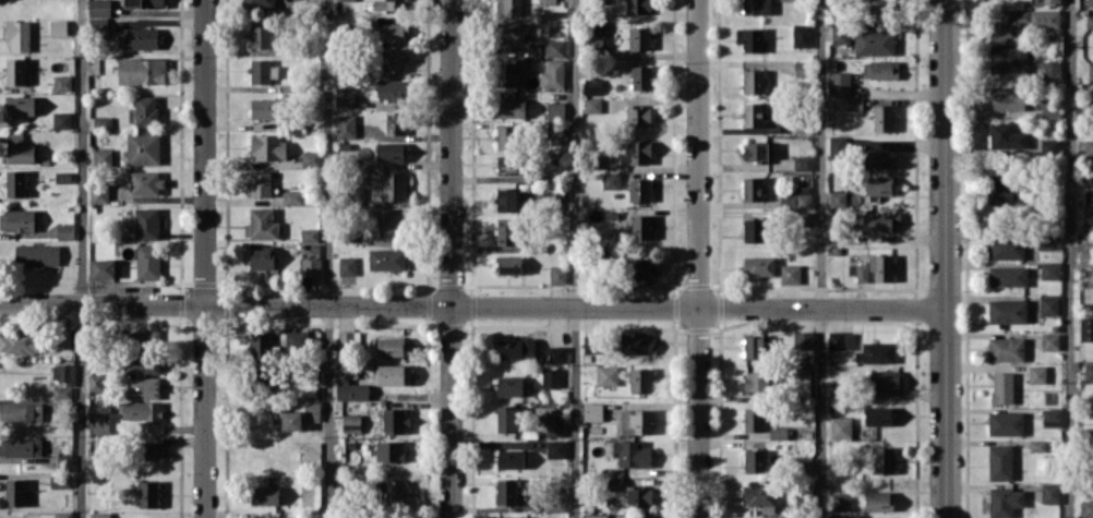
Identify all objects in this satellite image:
building: (348, 0)
building: (791, 0)
building: (546, 1)
building: (598, 1)
building: (1090, 2)
building: (144, 3)
building: (259, 3)
building: (388, 4)
building: (881, 4)
building: (508, 7)
building: (638, 7)
building: (756, 7)
building: (99, 8)
building: (1089, 21)
building: (1044, 24)
building: (59, 26)
building: (393, 32)
building: (512, 32)
building: (840, 34)
building: (19, 35)
building: (801, 35)
building: (261, 36)
building: (639, 37)
building: (137, 38)
building: (749, 38)
building: (874, 41)
building: (554, 48)
building: (394, 59)
building: (1008, 59)
building: (880, 69)
building: (1052, 70)
building: (15, 71)
building: (142, 71)
building: (262, 71)
building: (1090, 71)
building: (511, 74)
building: (553, 74)
building: (640, 77)
building: (753, 81)
building: (62, 82)
building: (839, 83)
building: (591, 84)
building: (391, 88)
building: (344, 97)
building: (1008, 97)
building: (853, 103)
building: (21, 105)
building: (592, 105)
building: (509, 107)
building: (265, 108)
building: (1050, 108)
building: (145, 109)
building: (753, 113)
building: (638, 116)
building: (882, 118)
building: (555, 119)
building: (61, 120)
building: (101, 121)
building: (396, 122)
building: (346, 125)
building: (506, 136)
building: (1006, 136)
building: (838, 145)
building: (267, 146)
building: (1049, 146)
building: (1089, 146)
building: (143, 148)
building: (755, 150)
building: (389, 152)
building: (639, 152)
building: (20, 153)
building: (103, 157)
building: (310, 158)
building: (877, 158)
building: (802, 162)
building: (507, 165)
building: (611, 180)
building: (145, 182)
building: (15, 183)
building: (260, 183)
building: (1089, 183)
building: (393, 185)
building: (878, 185)
building: (752, 188)
building: (639, 189)
building: (98, 193)
building: (292, 196)
building: (553, 196)
building: (801, 197)
building: (506, 198)
building: (837, 198)
building: (1088, 216)
building: (16, 219)
building: (880, 221)
building: (146, 222)
building: (392, 222)
building: (261, 224)
building: (640, 227)
building: (506, 230)
building: (755, 230)
building: (64, 231)
building: (309, 234)
building: (1006, 246)
building: (36, 254)
building: (1086, 257)
road: (82, 258)
road: (205, 258)
building: (262, 258)
road: (329, 258)
building: (386, 258)
road: (452, 258)
road: (576, 258)
road: (698, 258)
road: (821, 258)
road: (944, 258)
road: (1070, 258)
building: (147, 261)
building: (508, 264)
building: (347, 265)
building: (758, 265)
building: (310, 266)
building: (881, 266)
building: (103, 267)
building: (644, 267)
building: (1050, 270)
building: (862, 273)
building: (790, 274)
building: (557, 275)
building: (1007, 275)
building: (1049, 304)
road: (471, 306)
building: (1007, 311)
building: (1086, 328)
building: (62, 337)
building: (145, 338)
building: (297, 338)
building: (348, 339)
building: (803, 339)
building: (840, 340)
building: (20, 341)
building: (1049, 341)
building: (591, 344)
building: (636, 344)
building: (261, 345)
building: (391, 346)
building: (754, 347)
building: (515, 348)
building: (1006, 349)
building: (876, 352)
building: (556, 354)
building: (142, 363)
building: (348, 371)
building: (1088, 372)
building: (63, 373)
building: (392, 374)
building: (802, 374)
building: (1037, 374)
building: (606, 375)
building: (550, 377)
building: (640, 380)
building: (753, 381)
building: (885, 381)
building: (97, 382)
building: (268, 383)
building: (509, 386)
building: (143, 387)
building: (1002, 387)
building: (351, 390)
building: (49, 405)
building: (141, 410)
building: (312, 410)
building: (592, 411)
building: (21, 412)
building: (878, 415)
building: (506, 418)
building: (1052, 418)
building: (754, 419)
building: (288, 420)
building: (395, 420)
building: (634, 421)
building: (99, 423)
building: (351, 423)
building: (1006, 423)
building: (840, 427)
building: (553, 429)
building: (21, 447)
building: (556, 448)
building: (149, 450)
building: (391, 450)
building: (632, 453)
building: (509, 458)
building: (884, 459)
building: (755, 460)
building: (64, 461)
building: (1000, 461)
building: (60, 481)
building: (614, 483)
building: (392, 491)
building: (506, 491)
building: (15, 492)
building: (1050, 492)
building: (147, 493)
building: (265, 494)
building: (760, 494)
building: (639, 497)
building: (554, 501)
building: (841, 501)
building: (878, 501)
building: (1005, 502)
building: (1086, 508)
building: (63, 514)
building: (99, 515)
building: (596, 516)
building: (271, 517)
building: (512, 517)
building: (879, 517)

